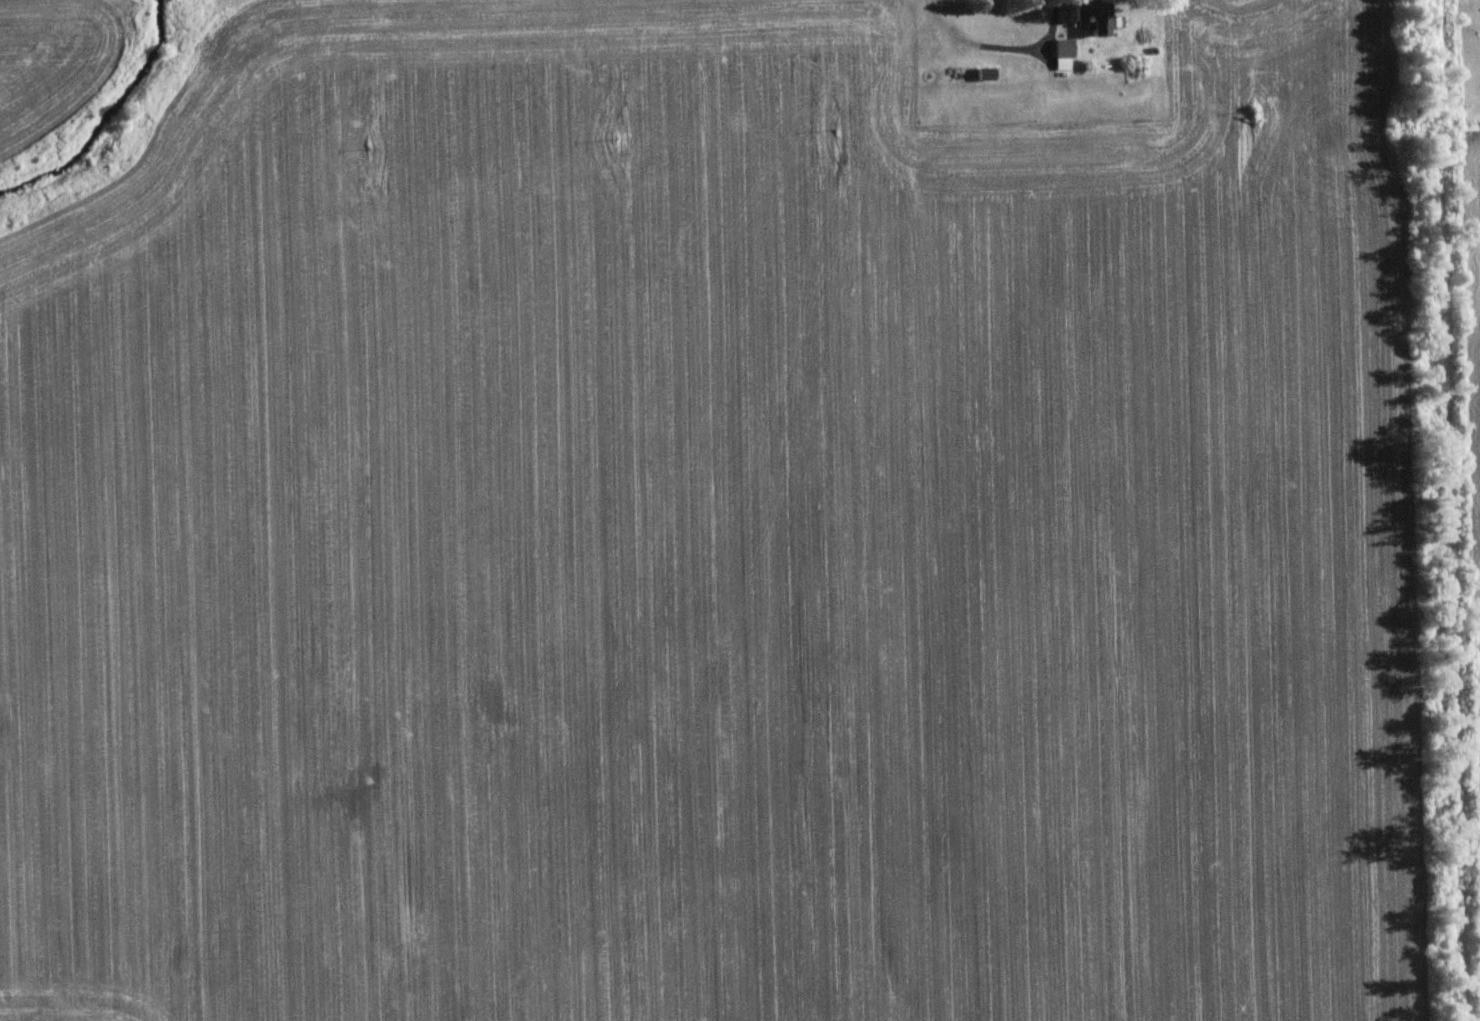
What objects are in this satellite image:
building: (1064, 52)
park: (1465, 60)
building: (987, 72)

